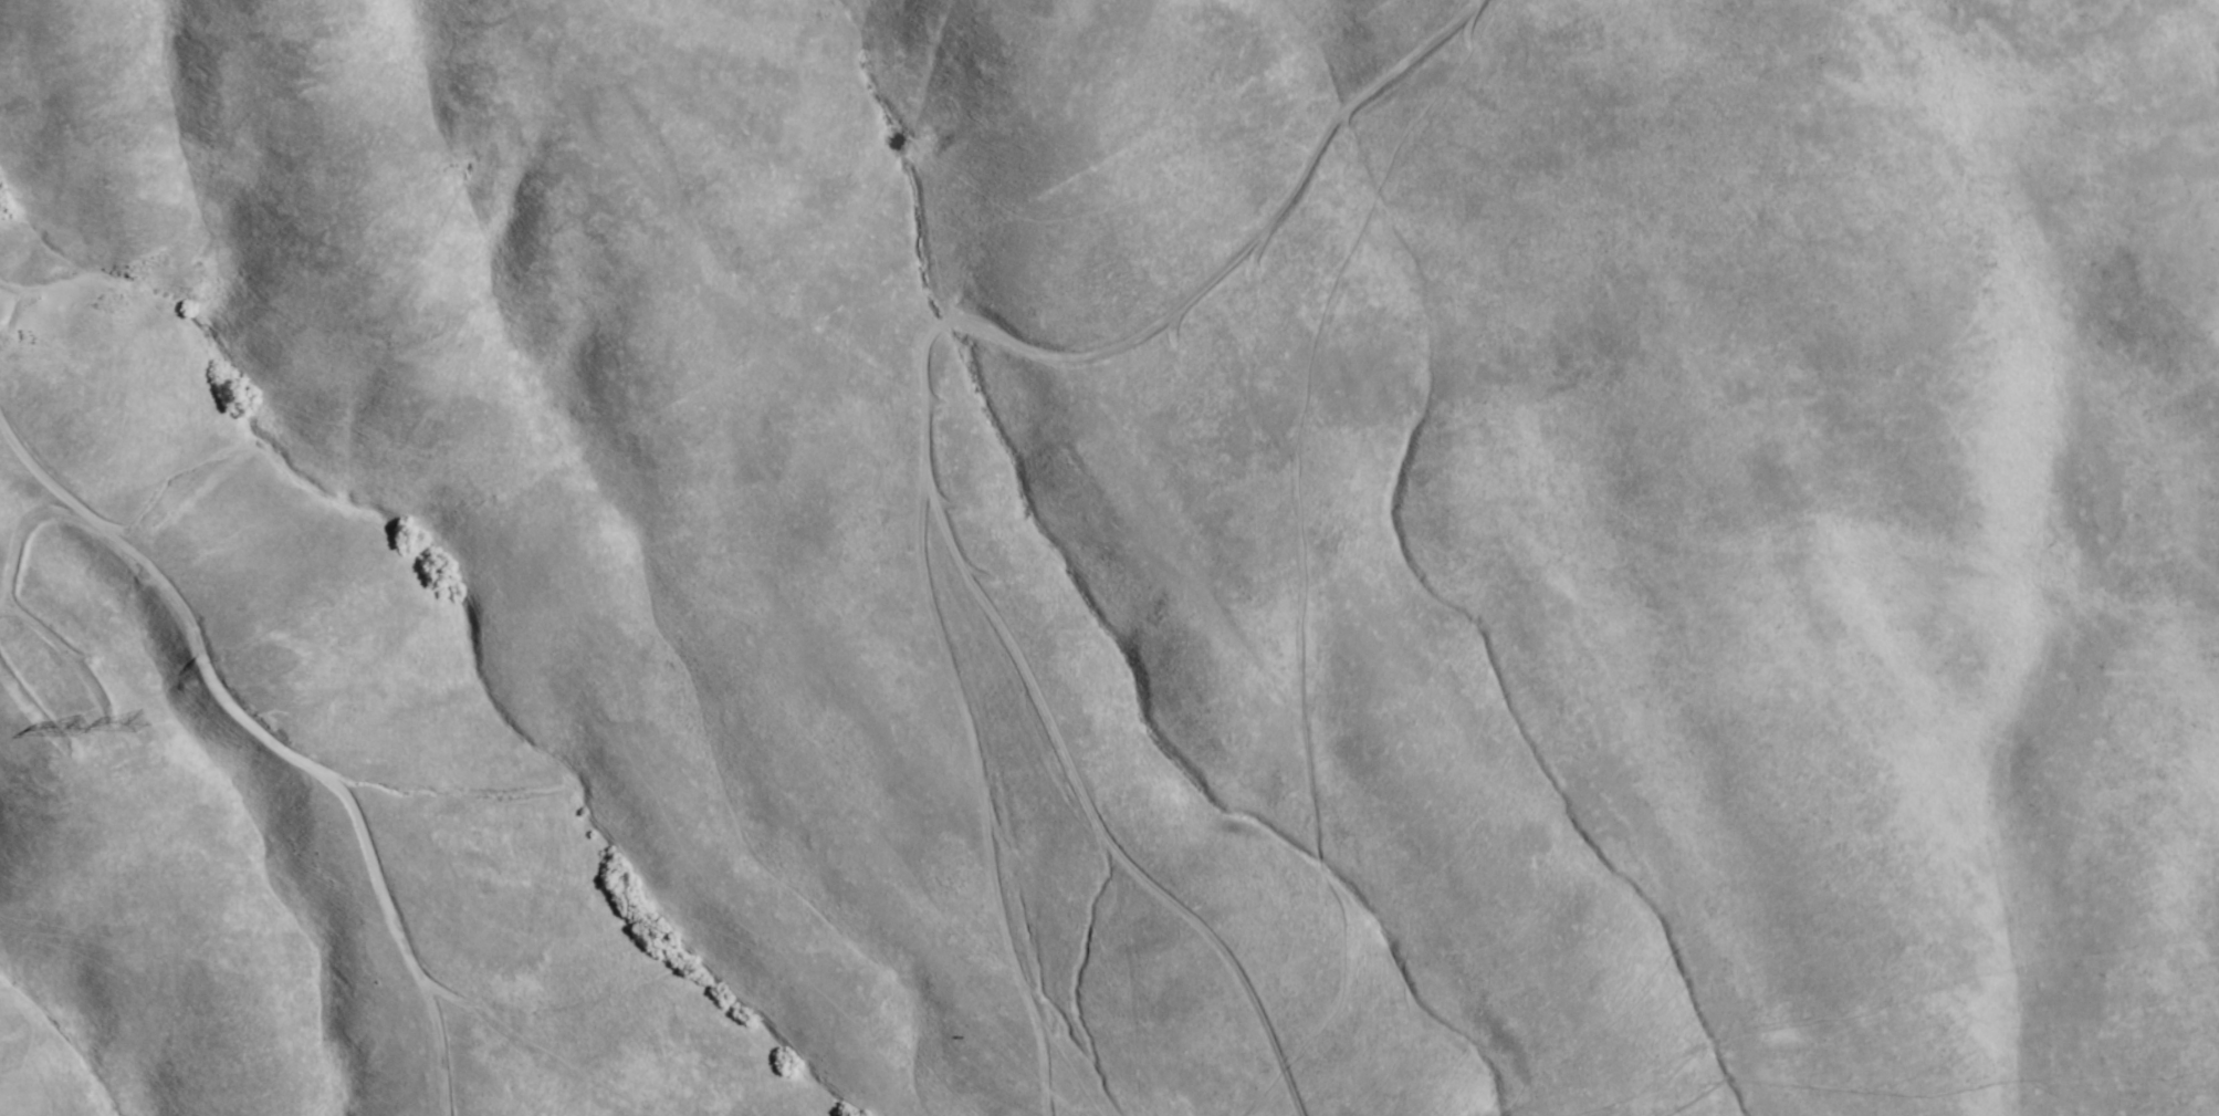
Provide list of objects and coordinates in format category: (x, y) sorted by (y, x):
road: (917, 374)
power tower: (155, 717)
power tower: (92, 724)
road: (268, 731)
road: (1085, 813)

